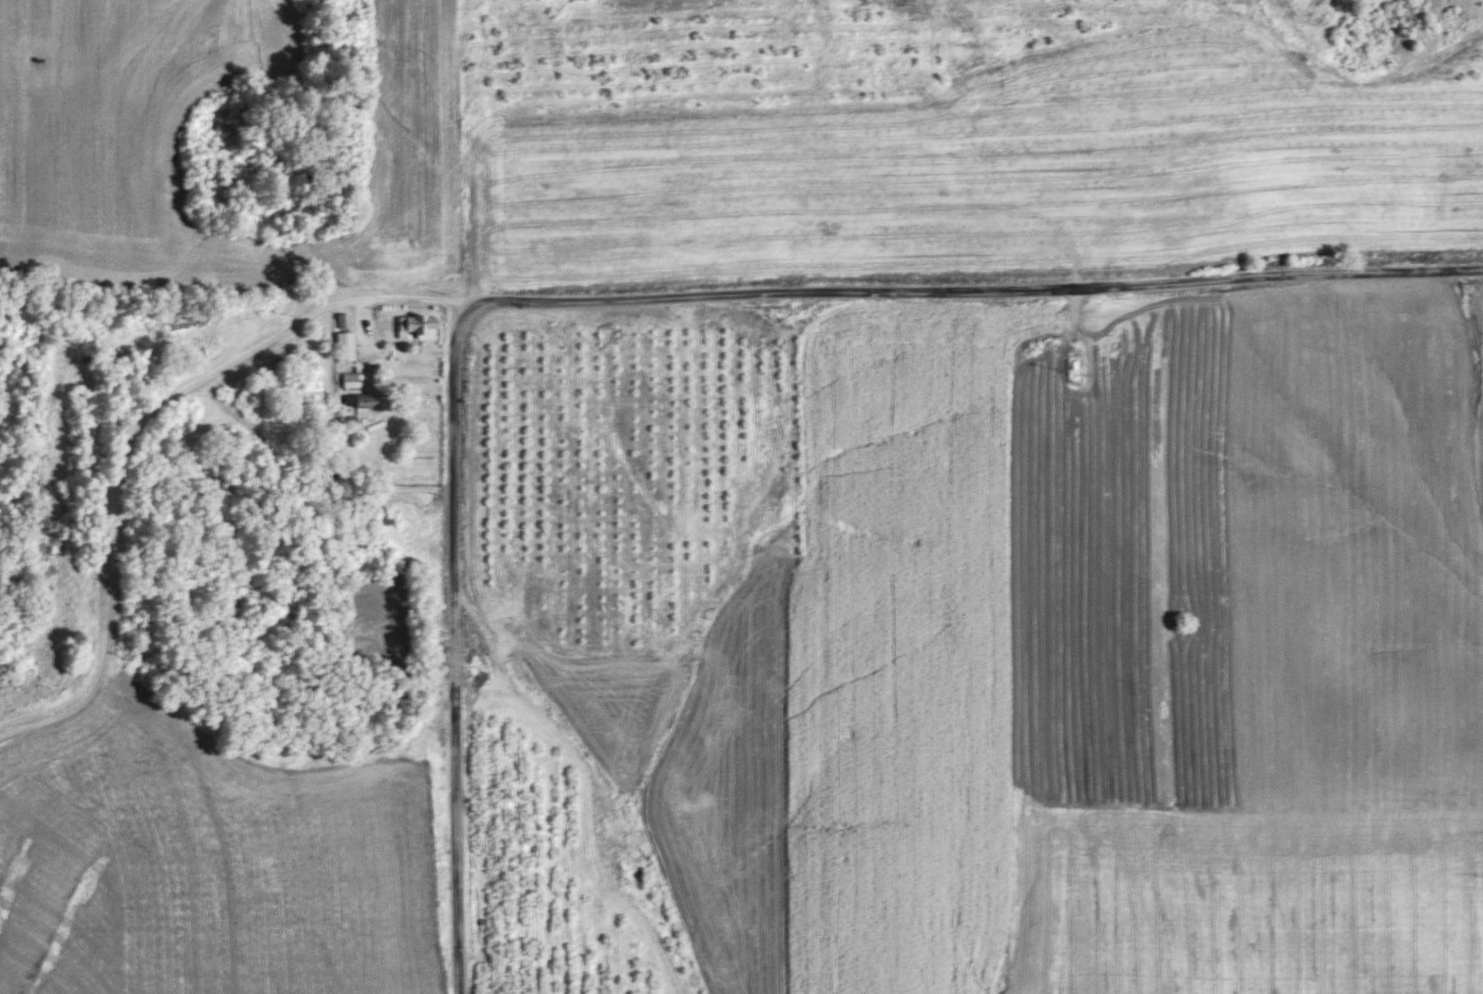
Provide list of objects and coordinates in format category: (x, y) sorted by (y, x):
crop: (100, 170)
road: (973, 286)
building: (343, 321)
building: (417, 326)
building: (344, 347)
building: (200, 348)
building: (350, 380)
building: (127, 396)
building: (362, 402)
road: (129, 428)
road: (457, 645)

